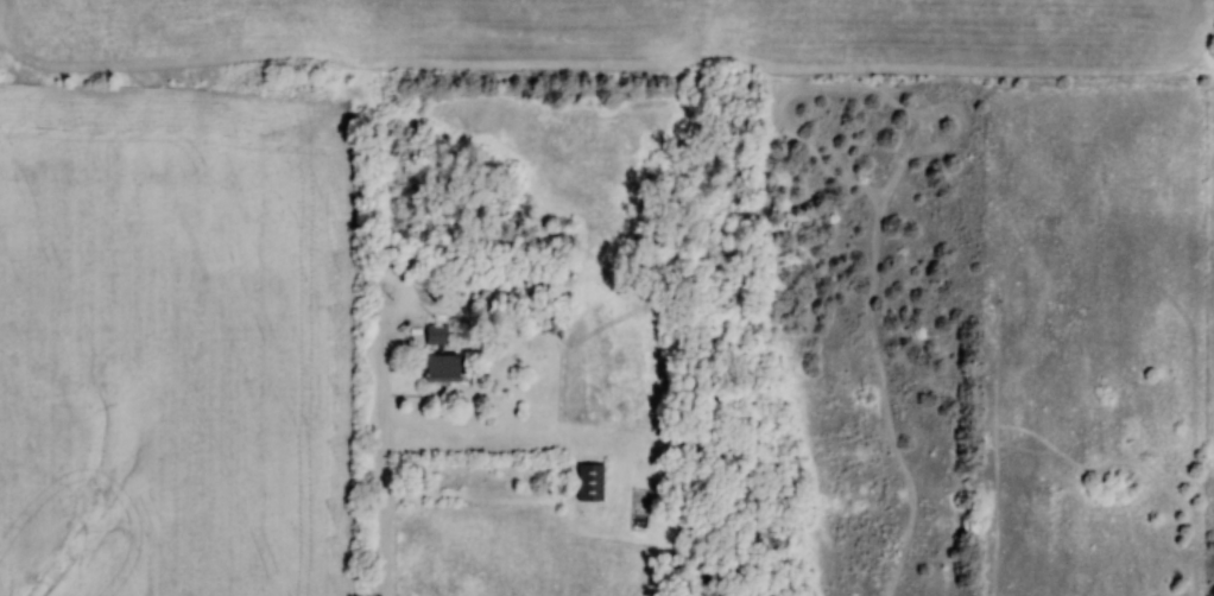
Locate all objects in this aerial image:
building: (537, 323)
building: (432, 335)
building: (435, 368)
building: (587, 482)
road: (385, 490)

